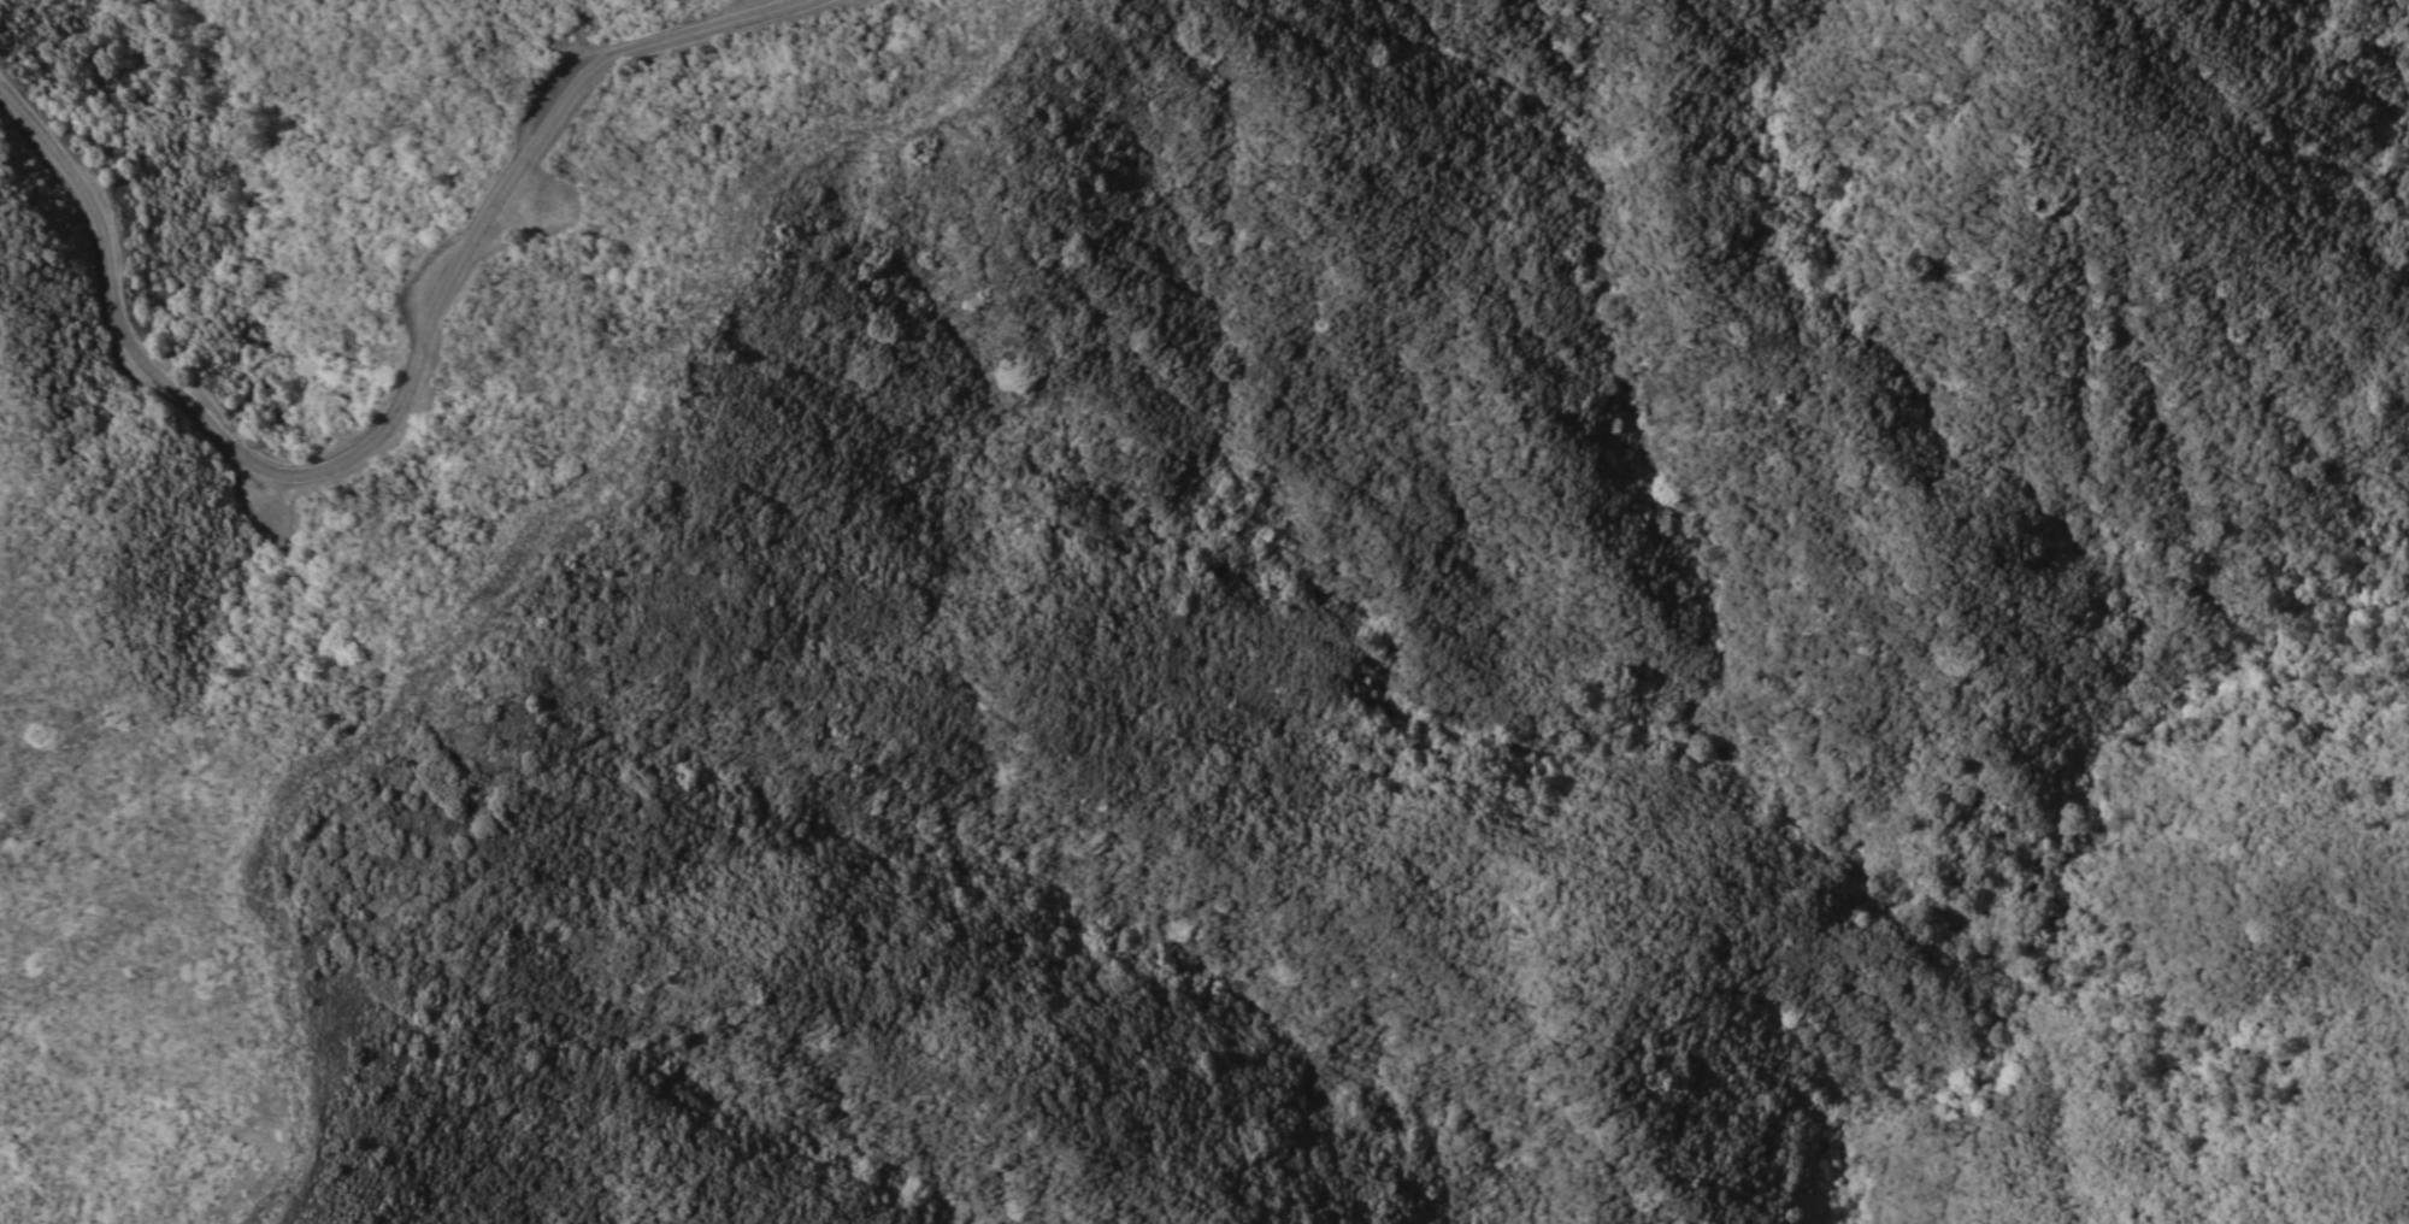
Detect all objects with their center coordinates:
road: (394, 416)
road: (540, 551)

